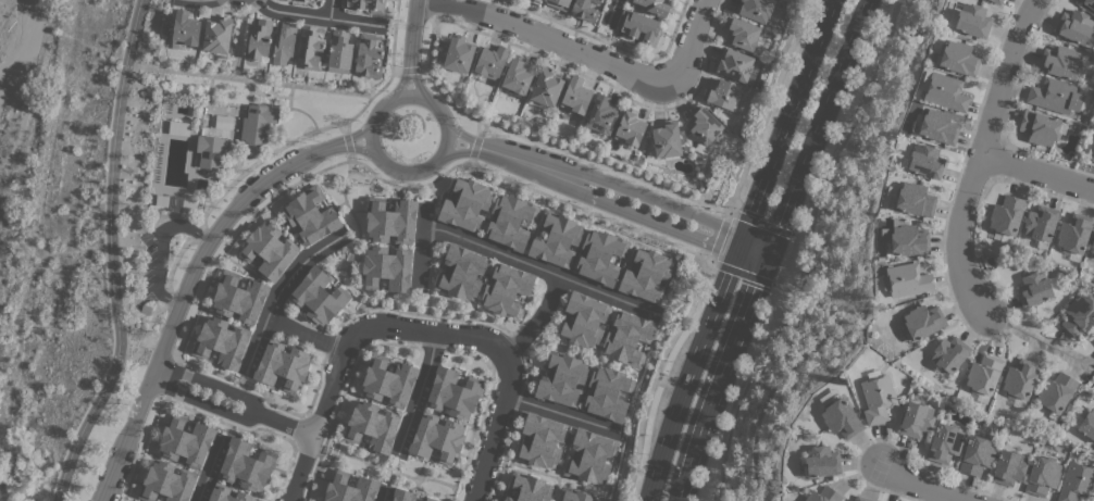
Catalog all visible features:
building: (290, 0)
building: (307, 0)
building: (537, 0)
building: (539, 0)
building: (996, 1)
building: (558, 3)
building: (1089, 3)
building: (655, 5)
building: (377, 7)
road: (433, 7)
road: (328, 9)
building: (756, 9)
building: (585, 10)
road: (611, 12)
road: (313, 15)
building: (972, 21)
building: (638, 26)
building: (1074, 26)
building: (185, 30)
building: (741, 33)
building: (217, 34)
road: (410, 34)
building: (260, 39)
building: (284, 43)
building: (310, 46)
building: (339, 51)
road: (582, 53)
building: (369, 54)
building: (458, 54)
building: (958, 58)
building: (492, 61)
building: (1062, 62)
building: (734, 64)
road: (409, 68)
building: (518, 75)
road: (248, 79)
road: (399, 83)
road: (415, 83)
building: (546, 87)
building: (945, 91)
building: (723, 93)
building: (575, 95)
building: (1055, 95)
road: (767, 105)
building: (601, 114)
road: (785, 116)
road: (817, 122)
building: (258, 124)
building: (703, 124)
building: (936, 126)
building: (1040, 126)
building: (630, 127)
road: (353, 136)
building: (667, 139)
road: (345, 140)
road: (474, 142)
road: (542, 142)
road: (355, 147)
building: (210, 151)
building: (1090, 153)
road: (979, 158)
building: (925, 161)
road: (250, 165)
road: (405, 171)
road: (1037, 172)
road: (594, 176)
road: (398, 187)
road: (588, 196)
building: (915, 199)
building: (465, 203)
building: (311, 215)
building: (1006, 215)
building: (390, 221)
building: (510, 221)
building: (1041, 224)
building: (1073, 233)
traffic signals: (742, 234)
road: (357, 235)
road: (718, 235)
road: (756, 238)
building: (556, 239)
building: (907, 241)
road: (738, 243)
traffic signals: (770, 243)
road: (790, 246)
road: (421, 247)
building: (1092, 247)
road: (160, 248)
building: (269, 250)
road: (803, 251)
traffic signals: (735, 253)
road: (767, 253)
road: (111, 255)
building: (600, 256)
road: (749, 258)
traffic signals: (763, 263)
building: (387, 267)
road: (537, 267)
building: (461, 272)
building: (646, 274)
building: (907, 279)
building: (1053, 285)
building: (1034, 288)
building: (506, 289)
road: (182, 293)
building: (318, 296)
building: (239, 297)
road: (270, 304)
road: (417, 313)
building: (1079, 315)
road: (535, 320)
building: (584, 320)
building: (922, 322)
building: (627, 338)
building: (222, 341)
road: (152, 342)
road: (254, 343)
building: (949, 353)
road: (502, 356)
building: (282, 365)
building: (983, 374)
road: (655, 375)
road: (687, 375)
road: (167, 377)
building: (562, 378)
building: (1020, 378)
building: (388, 380)
road: (720, 381)
road: (211, 383)
building: (1056, 391)
road: (417, 392)
building: (453, 392)
building: (607, 393)
building: (878, 398)
road: (202, 402)
road: (321, 411)
road: (560, 412)
building: (840, 417)
building: (916, 419)
road: (286, 424)
building: (1087, 424)
building: (372, 426)
building: (436, 437)
building: (542, 440)
building: (186, 441)
building: (945, 441)
road: (141, 447)
building: (977, 454)
building: (589, 456)
building: (820, 461)
building: (246, 465)
building: (1008, 466)
road: (207, 471)
building: (1042, 475)
building: (1076, 481)
building: (166, 483)
road: (917, 486)
building: (529, 487)
building: (350, 488)
building: (227, 493)
road: (382, 494)
building: (402, 494)
building: (575, 494)
building: (823, 494)
building: (862, 498)
building: (431, 499)

